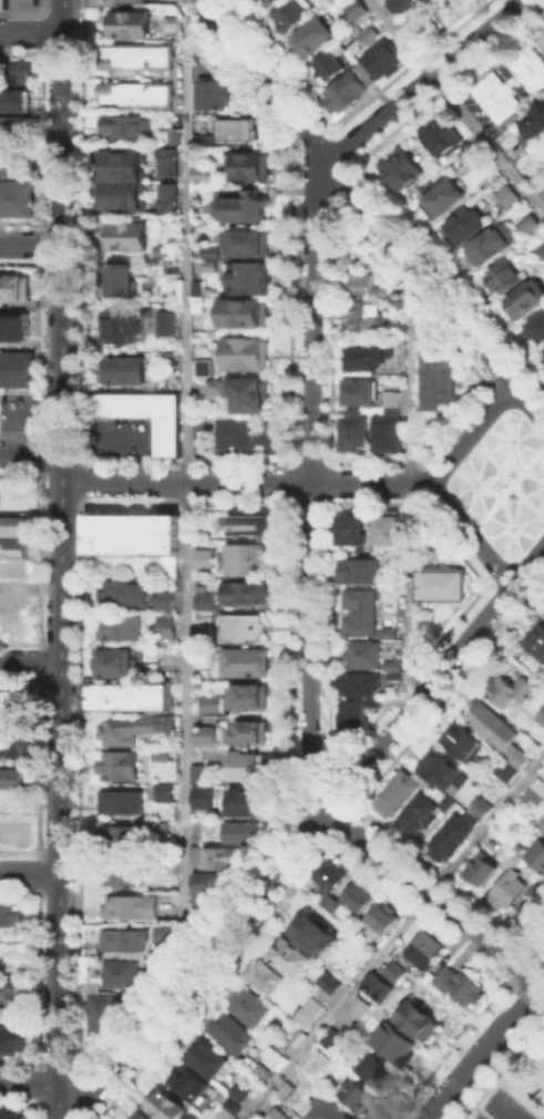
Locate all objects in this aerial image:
building: (424, 0)
building: (431, 0)
road: (533, 0)
road: (543, 0)
building: (105, 2)
building: (265, 2)
building: (274, 2)
building: (3, 3)
building: (399, 4)
building: (353, 9)
building: (295, 13)
building: (171, 21)
building: (130, 22)
road: (31, 33)
building: (367, 34)
building: (315, 35)
building: (137, 57)
building: (384, 59)
building: (331, 66)
building: (1, 69)
building: (22, 71)
road: (421, 79)
building: (510, 83)
building: (349, 90)
building: (137, 94)
building: (213, 94)
building: (14, 99)
road: (456, 106)
building: (10, 124)
building: (534, 124)
building: (126, 127)
building: (239, 131)
building: (173, 134)
building: (440, 134)
building: (205, 140)
building: (14, 158)
building: (171, 164)
building: (125, 166)
building: (250, 167)
building: (402, 170)
building: (201, 172)
building: (543, 178)
building: (532, 181)
road: (353, 192)
building: (506, 194)
building: (125, 197)
building: (444, 198)
building: (19, 199)
building: (171, 199)
building: (245, 206)
building: (528, 225)
building: (465, 226)
building: (170, 234)
building: (129, 238)
road: (31, 243)
building: (253, 244)
building: (490, 247)
building: (542, 248)
building: (211, 250)
building: (155, 264)
building: (246, 277)
building: (506, 277)
building: (120, 279)
building: (366, 285)
building: (195, 286)
building: (16, 289)
building: (526, 301)
building: (197, 304)
building: (243, 314)
building: (371, 318)
building: (165, 321)
building: (13, 326)
building: (117, 326)
building: (424, 330)
building: (537, 333)
building: (542, 352)
building: (247, 355)
building: (367, 359)
building: (202, 366)
building: (17, 369)
building: (122, 369)
building: (438, 381)
building: (214, 386)
building: (361, 393)
building: (249, 396)
building: (394, 402)
road: (527, 403)
building: (148, 415)
road: (466, 432)
building: (353, 433)
building: (388, 434)
building: (249, 438)
road: (30, 452)
road: (243, 481)
road: (307, 482)
road: (184, 483)
road: (407, 485)
building: (12, 524)
building: (254, 526)
building: (355, 528)
building: (390, 530)
building: (131, 533)
road: (468, 533)
building: (12, 545)
building: (243, 556)
road: (61, 558)
building: (203, 558)
building: (396, 563)
road: (527, 563)
building: (12, 567)
building: (171, 569)
building: (362, 572)
building: (440, 583)
building: (386, 589)
building: (236, 595)
building: (126, 596)
building: (166, 600)
building: (358, 612)
building: (543, 614)
building: (164, 626)
building: (245, 628)
building: (123, 629)
building: (386, 632)
building: (536, 640)
building: (367, 656)
building: (202, 658)
road: (30, 663)
building: (114, 664)
building: (247, 664)
building: (397, 666)
building: (396, 679)
building: (361, 685)
building: (511, 691)
road: (419, 695)
building: (129, 698)
building: (253, 698)
building: (211, 702)
building: (16, 705)
building: (352, 715)
building: (542, 718)
building: (167, 725)
building: (493, 726)
building: (124, 732)
building: (250, 732)
building: (205, 736)
building: (16, 743)
building: (464, 743)
building: (164, 756)
building: (513, 766)
building: (247, 767)
building: (120, 768)
building: (195, 772)
building: (444, 773)
building: (11, 777)
building: (204, 789)
building: (537, 792)
building: (166, 793)
building: (396, 795)
building: (122, 802)
building: (252, 803)
building: (449, 804)
building: (483, 808)
building: (420, 817)
building: (542, 818)
building: (162, 828)
building: (543, 829)
building: (14, 831)
building: (244, 833)
building: (122, 836)
building: (451, 839)
building: (196, 853)
building: (537, 853)
building: (225, 859)
building: (481, 868)
building: (123, 872)
road: (30, 873)
building: (330, 875)
building: (510, 890)
building: (206, 891)
road: (430, 895)
building: (359, 897)
building: (330, 905)
building: (132, 908)
building: (534, 912)
building: (11, 913)
building: (383, 920)
building: (310, 930)
building: (167, 935)
road: (392, 935)
building: (125, 942)
building: (428, 951)
building: (9, 957)
building: (292, 958)
road: (198, 962)
building: (393, 969)
building: (125, 974)
building: (265, 977)
building: (454, 981)
building: (89, 986)
building: (376, 986)
road: (541, 986)
building: (13, 990)
building: (357, 1006)
building: (253, 1008)
building: (306, 1012)
building: (104, 1015)
building: (421, 1023)
building: (232, 1034)
building: (297, 1036)
building: (329, 1039)
building: (13, 1040)
building: (394, 1041)
road: (485, 1047)
building: (207, 1058)
building: (316, 1062)
building: (372, 1068)
building: (259, 1070)
road: (30, 1084)
building: (191, 1084)
building: (283, 1089)
building: (236, 1090)
building: (359, 1097)
building: (229, 1105)
building: (171, 1109)
building: (326, 1109)
building: (13, 1113)
building: (276, 1113)
building: (140, 1116)
building: (225, 1116)

